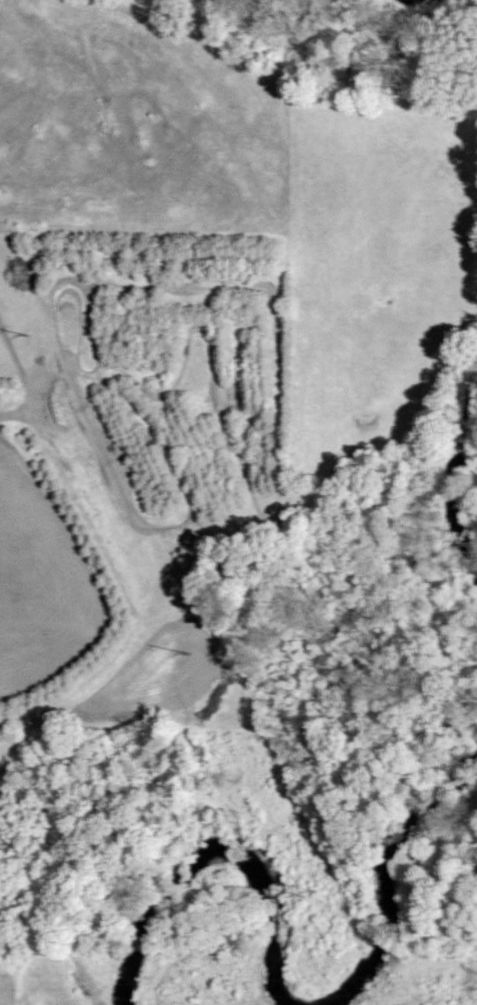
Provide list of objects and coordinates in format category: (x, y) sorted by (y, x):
power tower: (30, 334)
power tower: (192, 652)
power tower: (312, 892)

